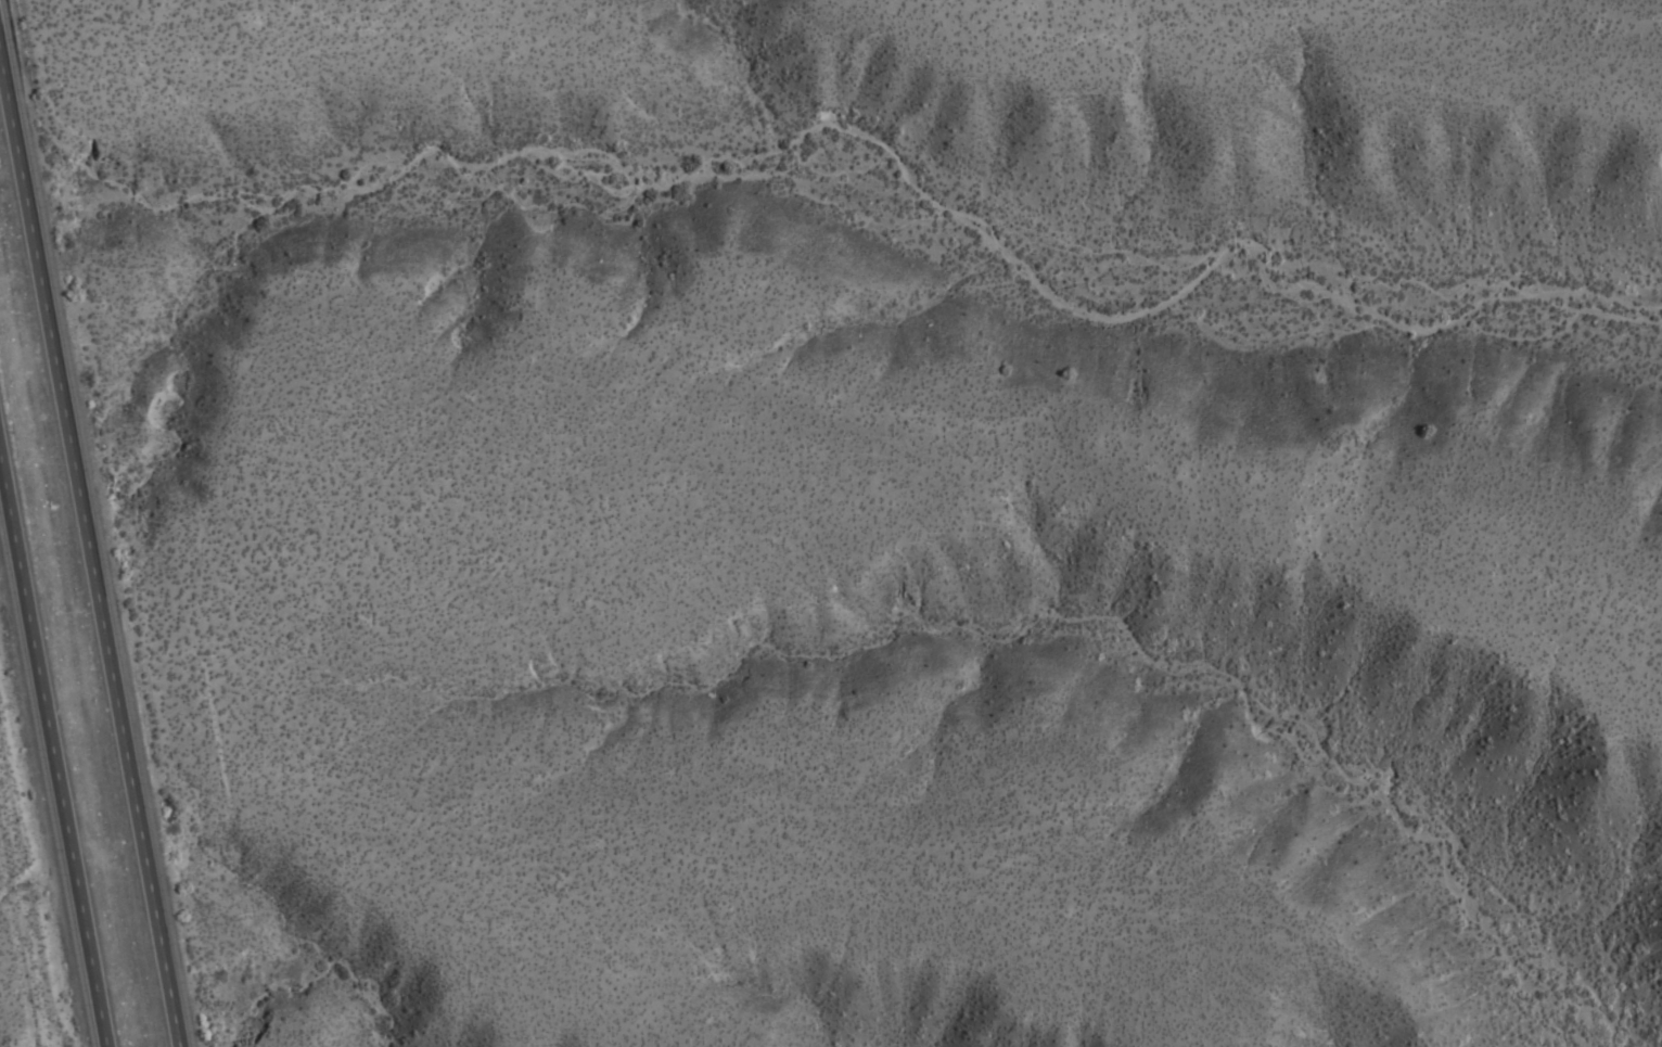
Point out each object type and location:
road: (88, 557)
road: (51, 763)

